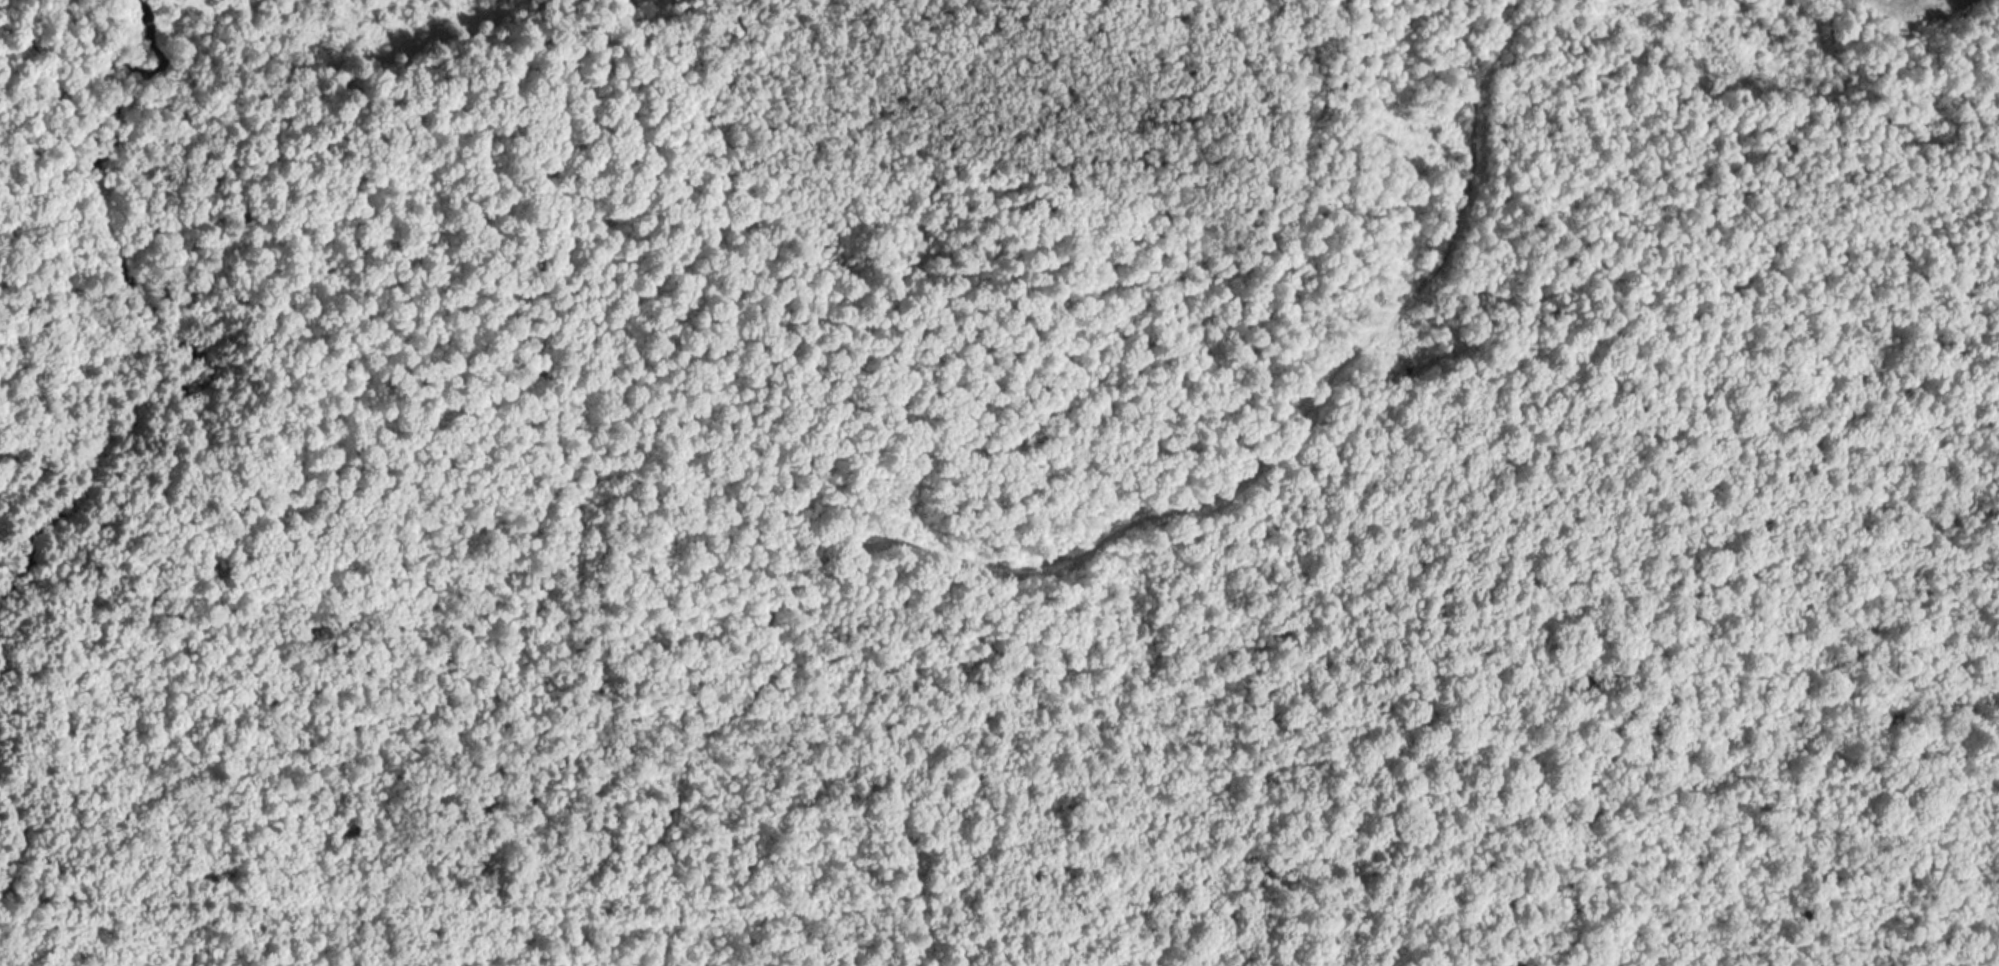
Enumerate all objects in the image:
road: (1934, 7)

